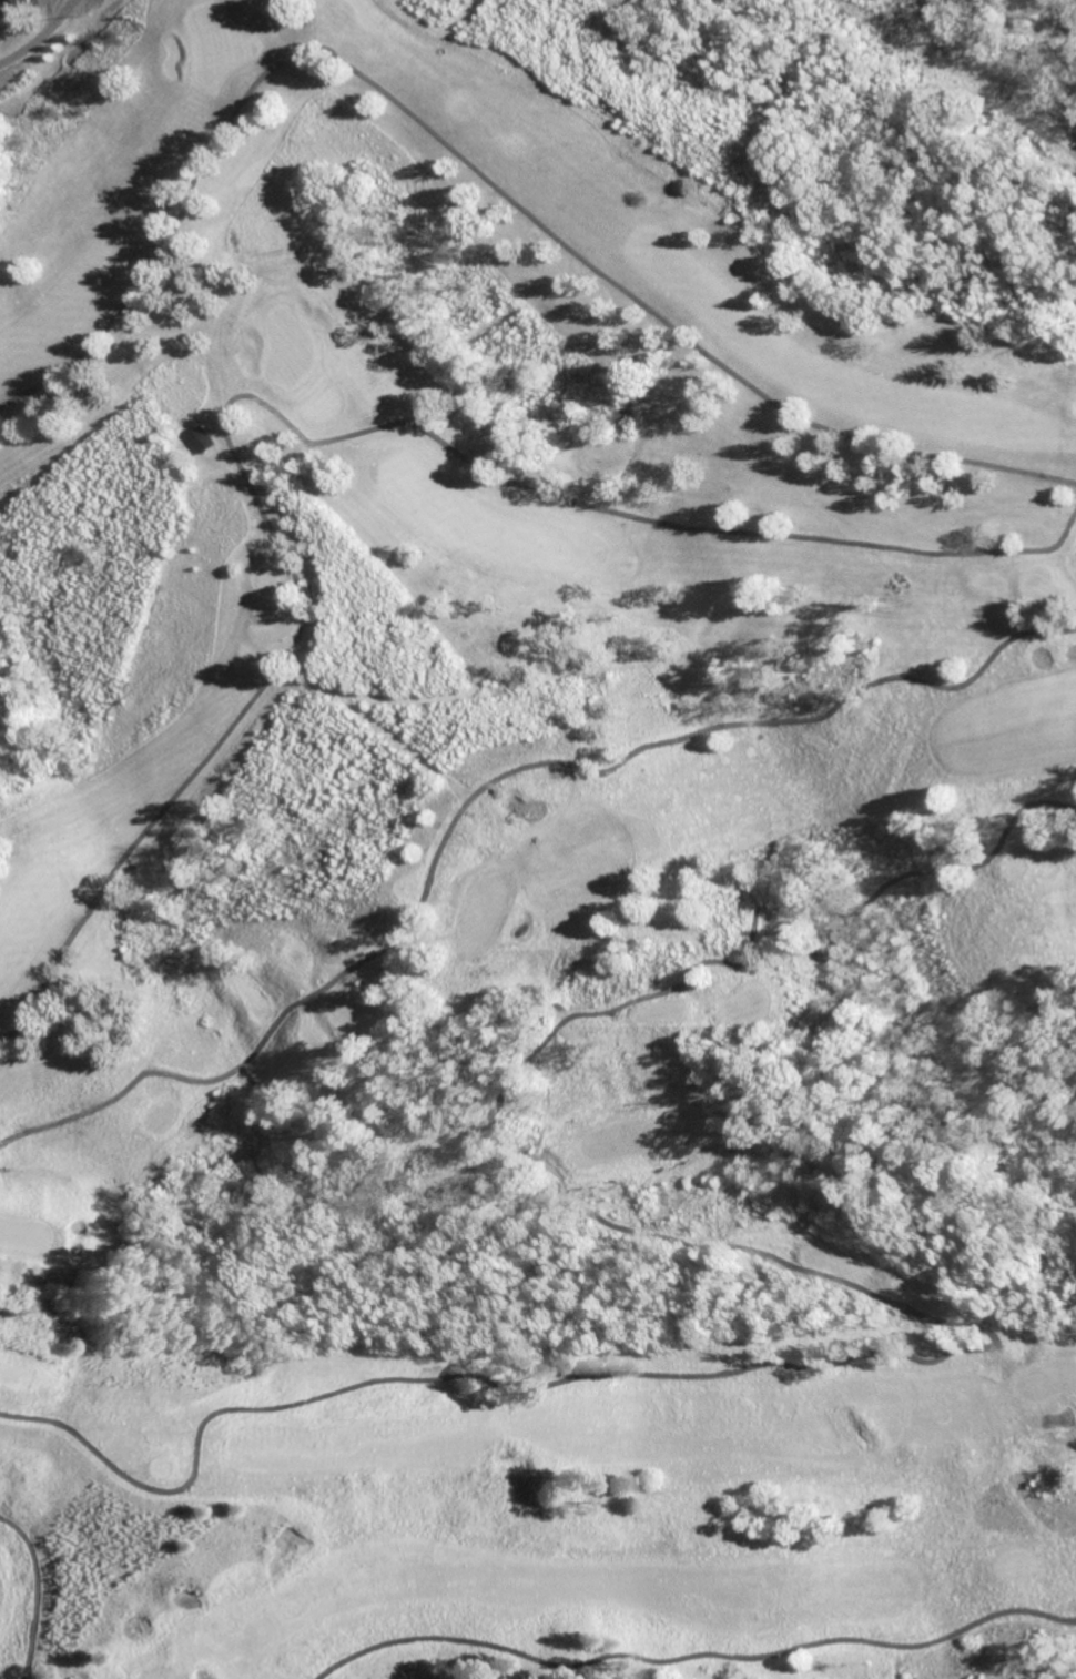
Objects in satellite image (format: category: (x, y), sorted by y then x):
building: (17, 1)
crop: (1038, 18)
park: (219, 45)
road: (477, 169)
park: (288, 348)
road: (293, 432)
building: (203, 442)
road: (484, 789)
park: (524, 841)
road: (351, 1174)
road: (876, 1298)
road: (42, 1589)
road: (692, 1656)
road: (31, 1673)

